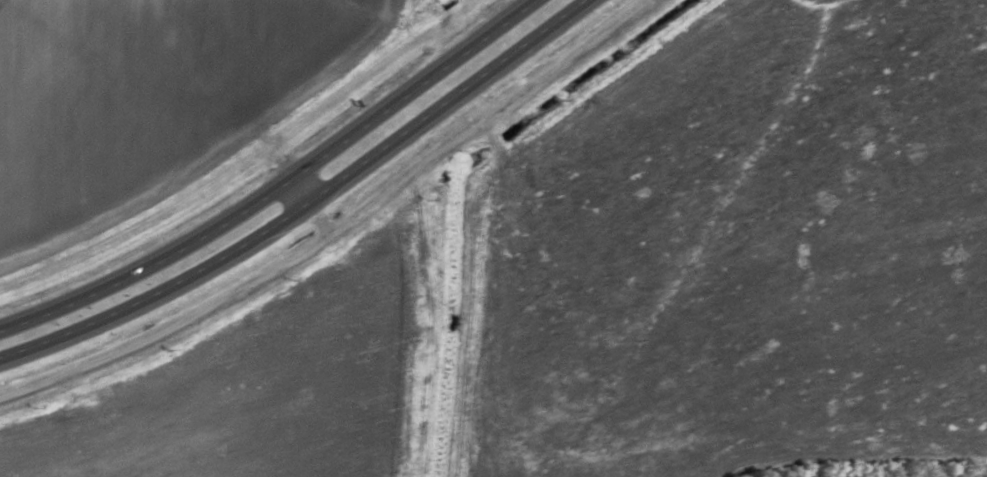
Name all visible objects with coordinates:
road: (278, 183)
road: (301, 199)
road: (300, 205)
road: (335, 218)

